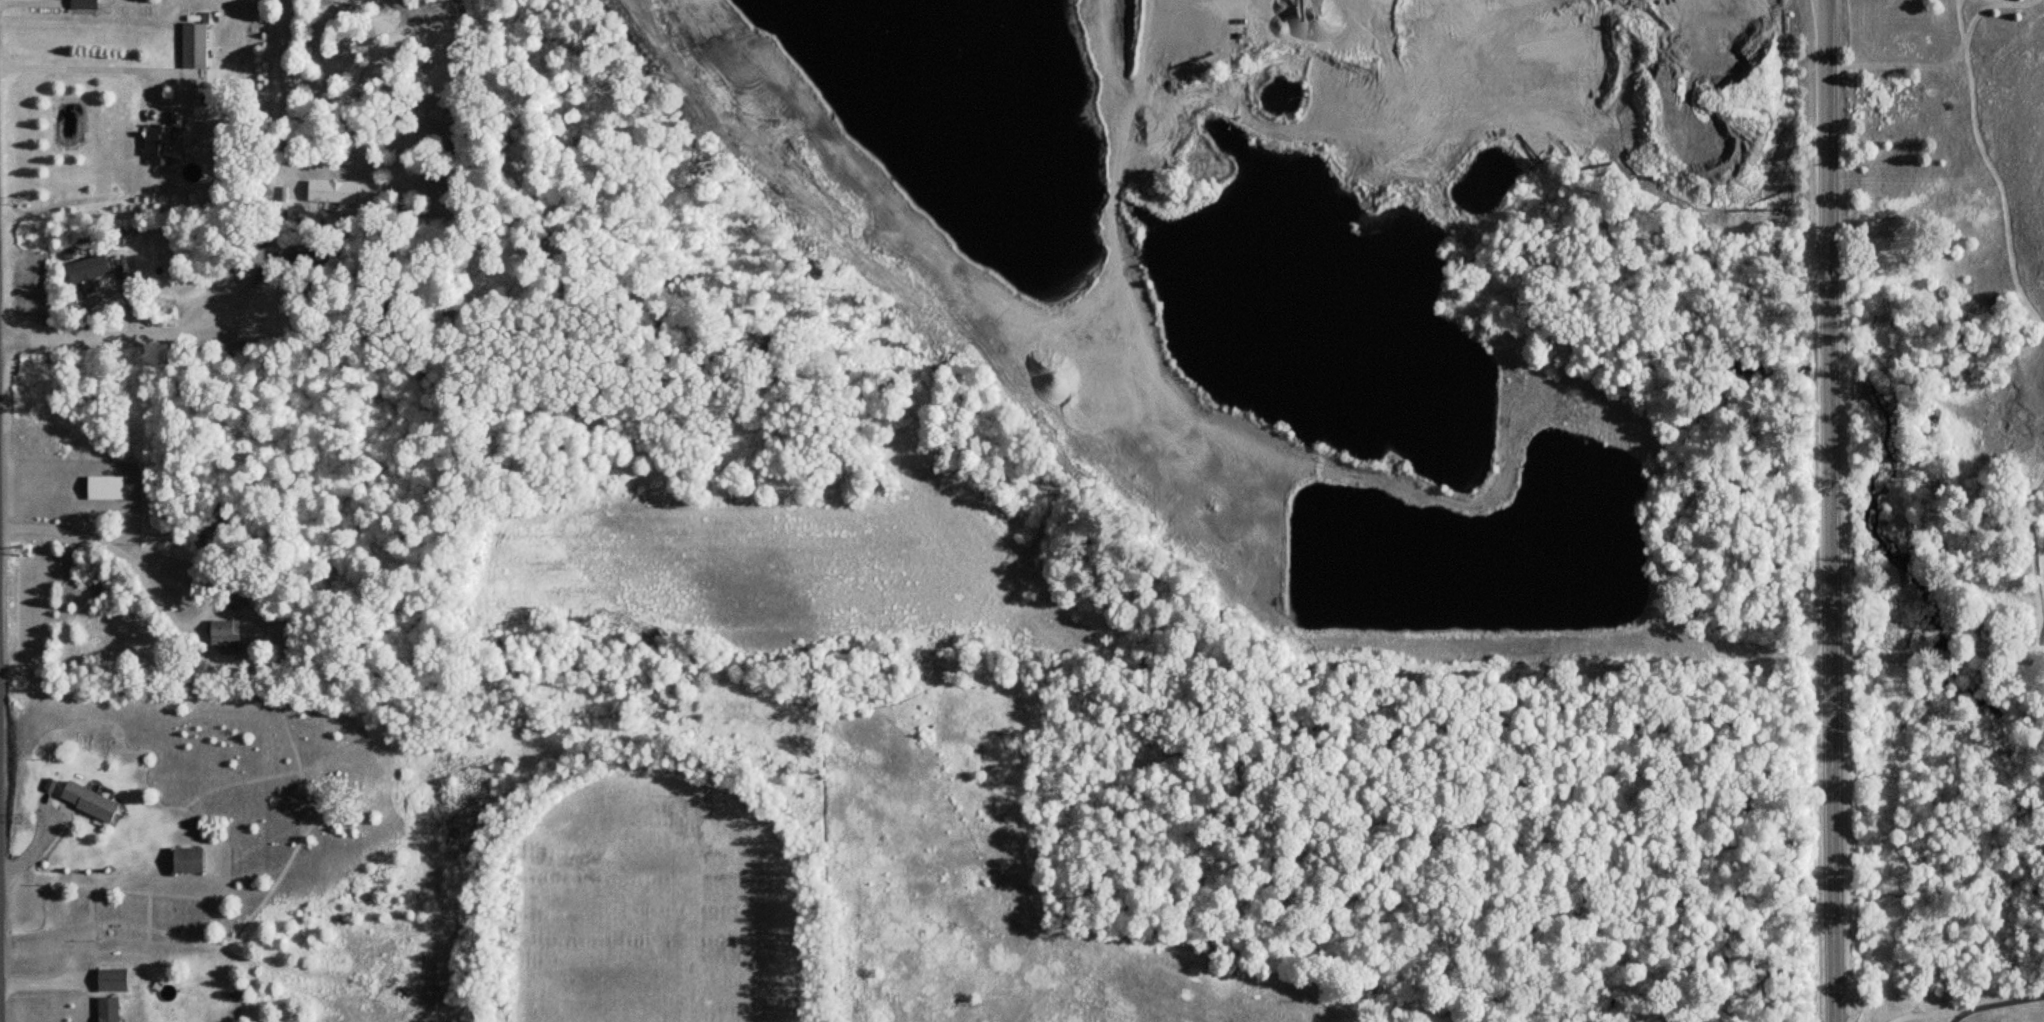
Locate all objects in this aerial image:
building: (84, 5)
building: (195, 45)
road: (74, 66)
road: (279, 77)
building: (2035, 96)
road: (181, 98)
building: (1915, 103)
building: (164, 144)
building: (333, 191)
power tower: (22, 200)
building: (303, 258)
building: (88, 269)
road: (254, 284)
road: (123, 331)
building: (106, 488)
road: (1832, 510)
road: (107, 546)
power tower: (24, 550)
building: (232, 592)
building: (224, 630)
building: (90, 802)
power tower: (25, 820)
road: (41, 846)
building: (189, 861)
building: (113, 981)
road: (46, 984)
building: (109, 1010)

